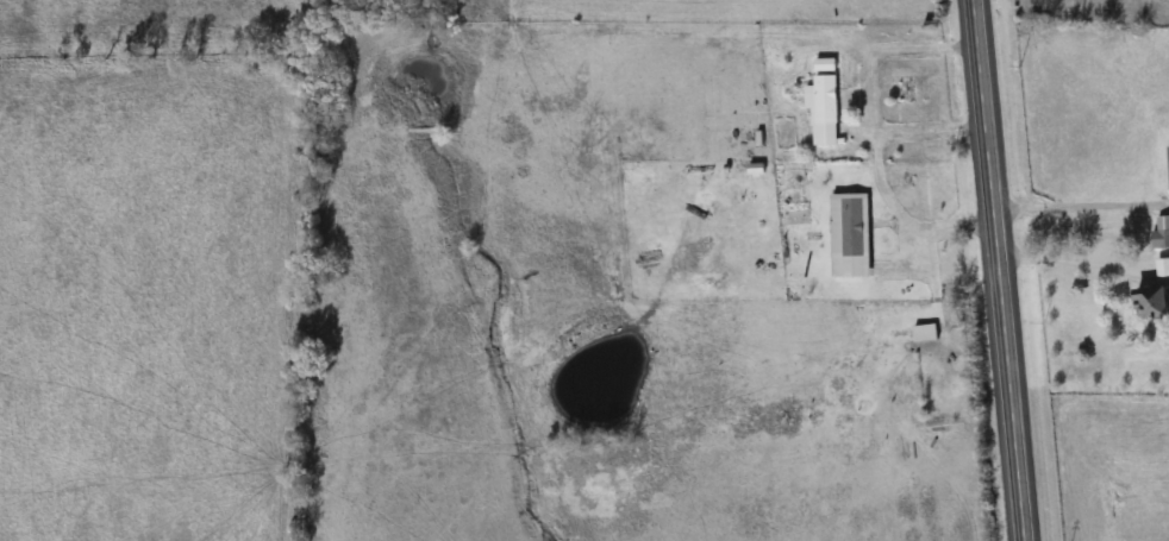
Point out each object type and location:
building: (826, 64)
building: (826, 109)
road: (1080, 202)
building: (1161, 239)
building: (1163, 266)
road: (998, 270)
building: (1155, 301)
building: (926, 332)

